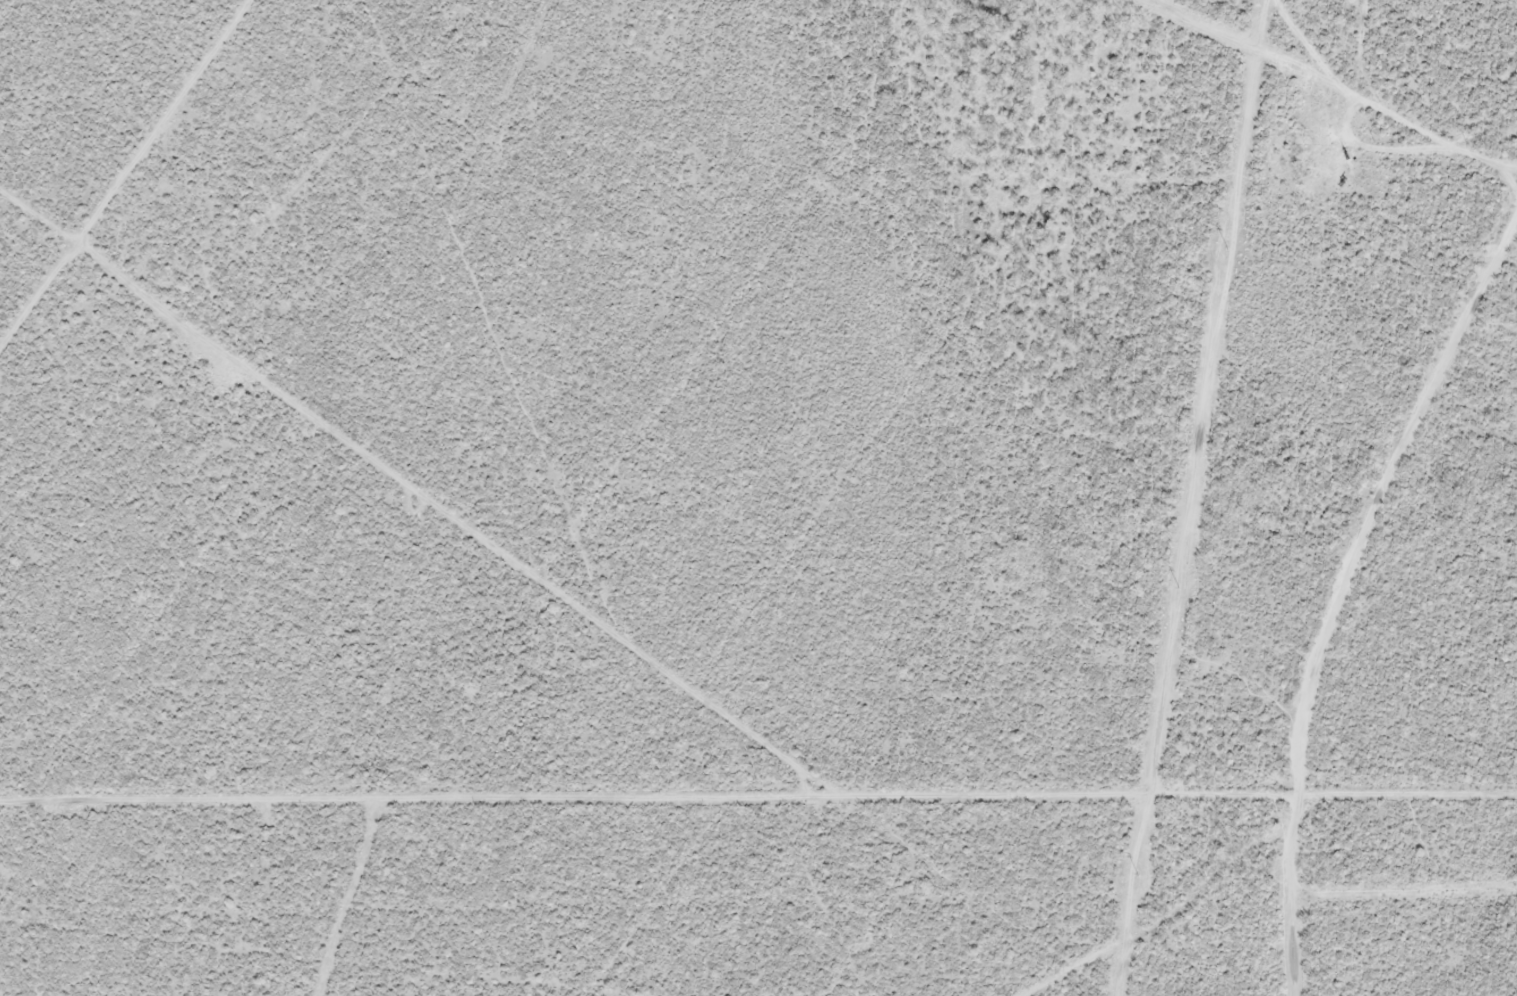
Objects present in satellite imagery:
power tower: (1227, 247)
power tower: (1178, 585)
road: (1375, 673)
power tower: (1137, 872)

